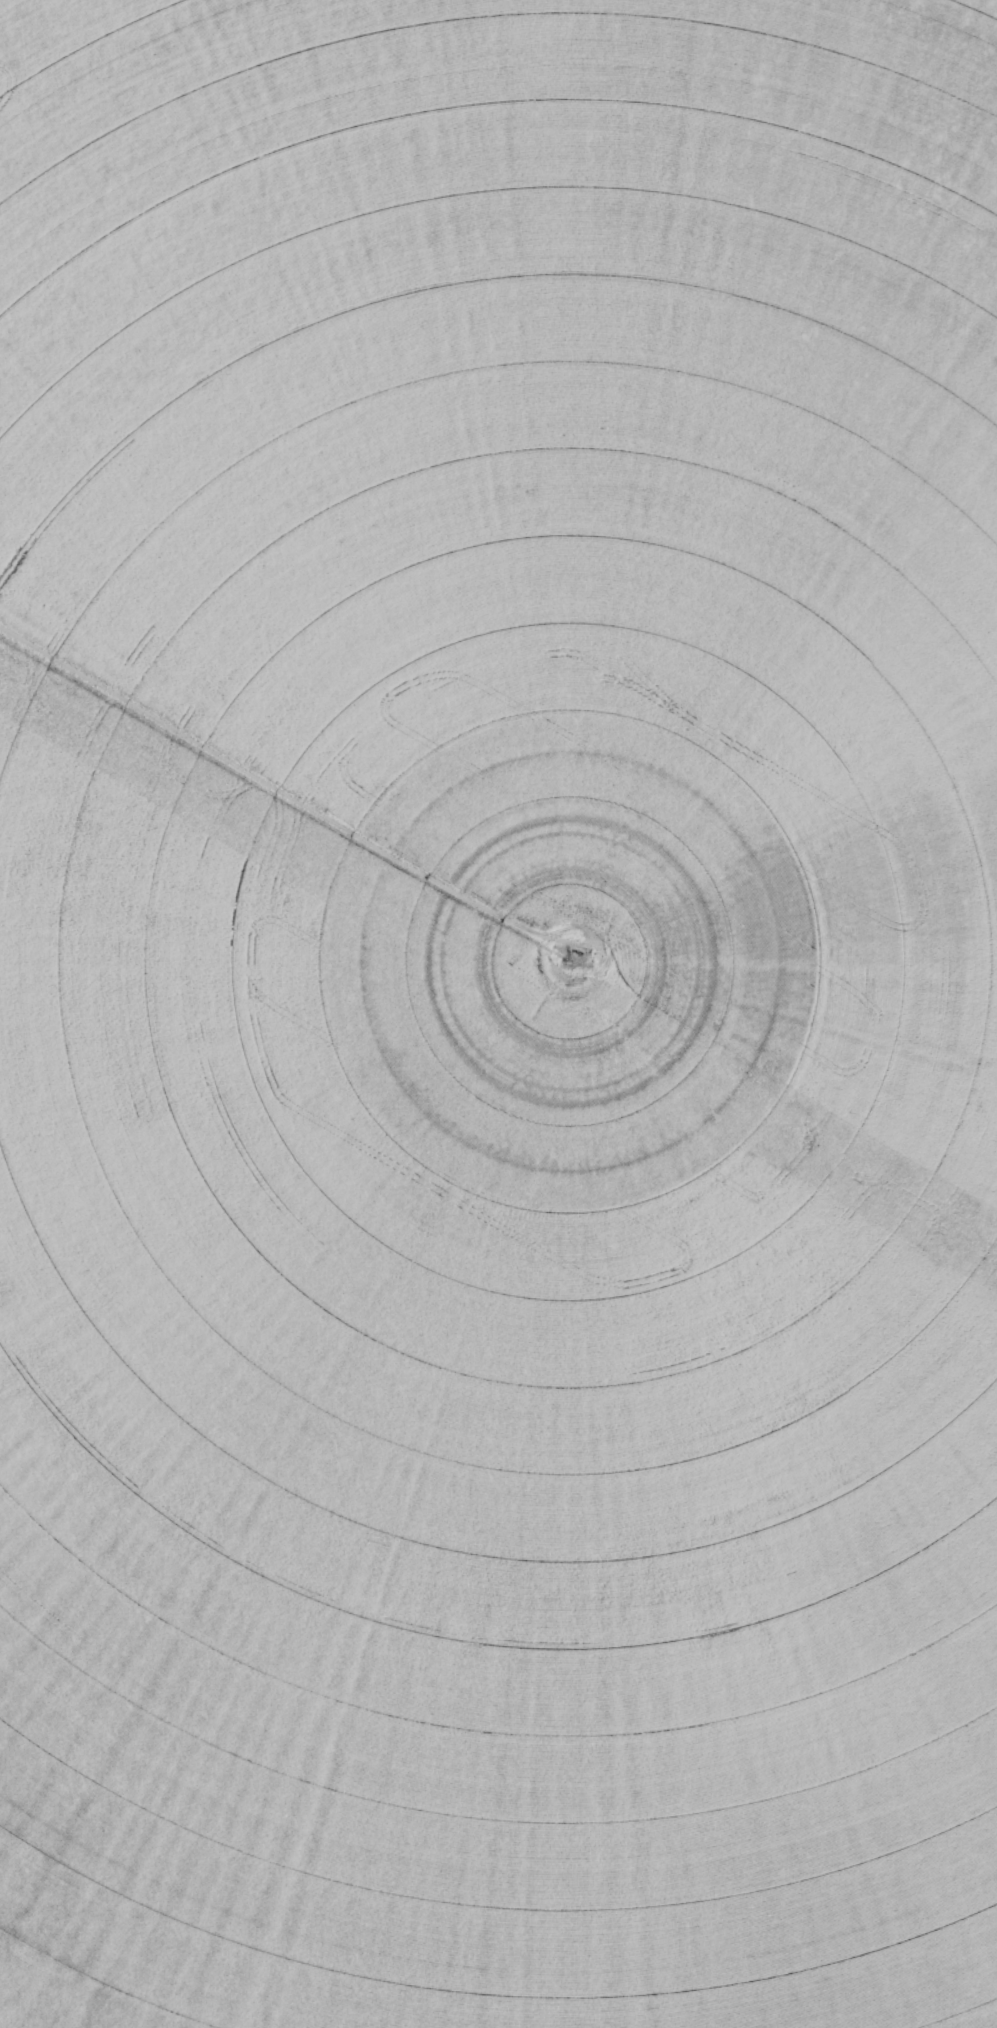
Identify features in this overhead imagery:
crop: (498, 1014)

